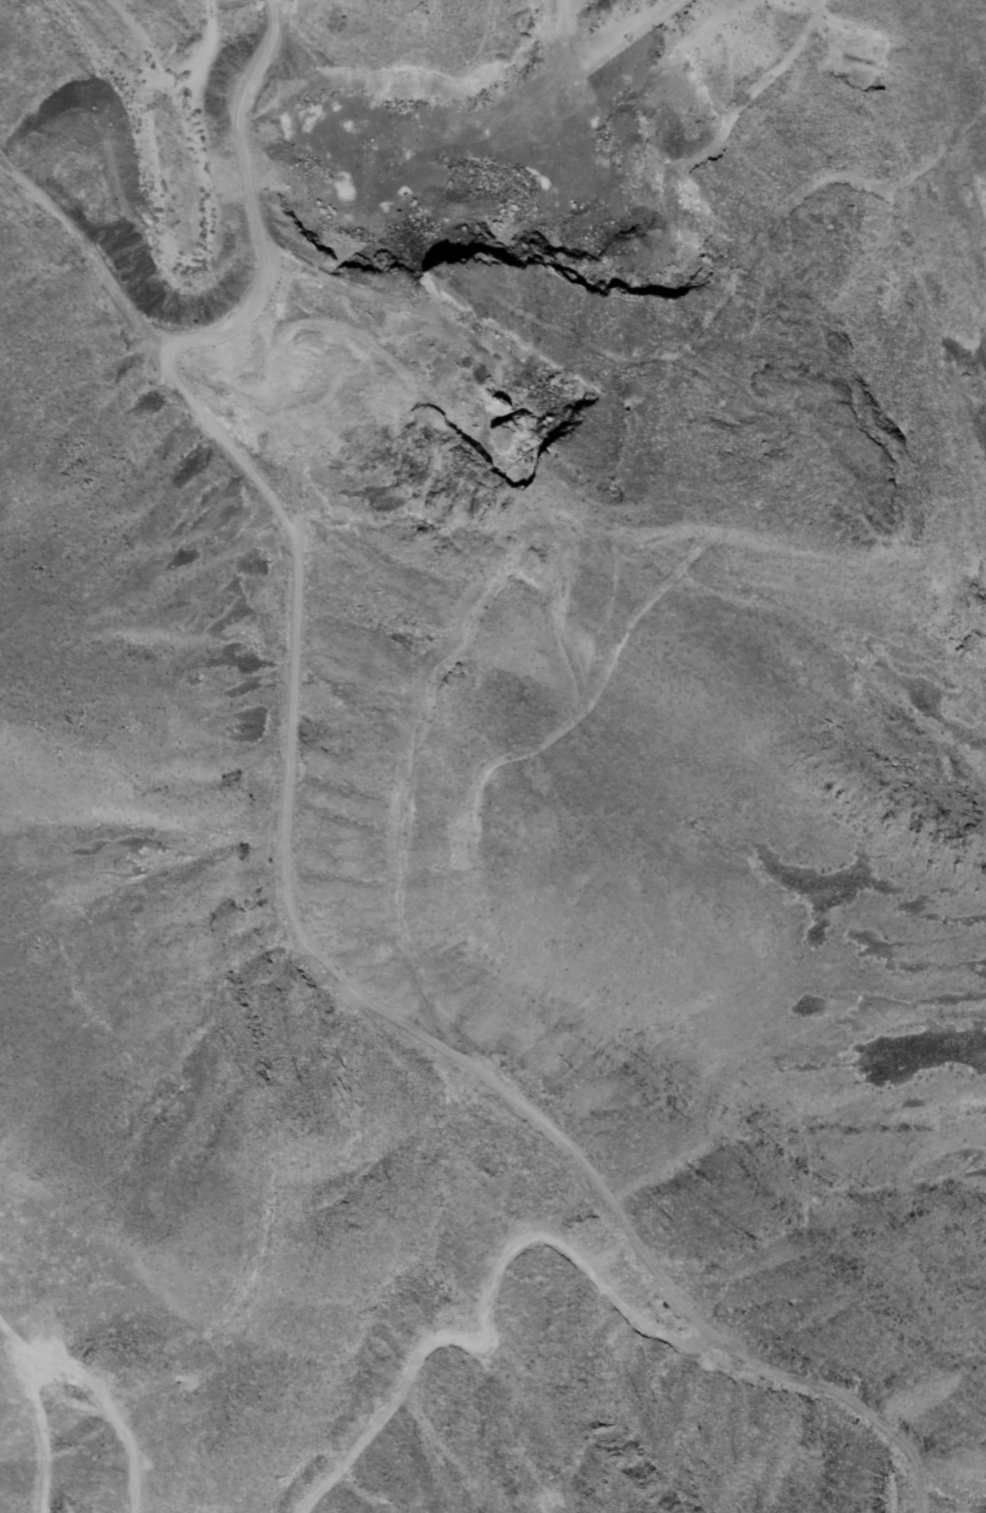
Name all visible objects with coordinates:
road: (281, 854)
road: (888, 1436)

